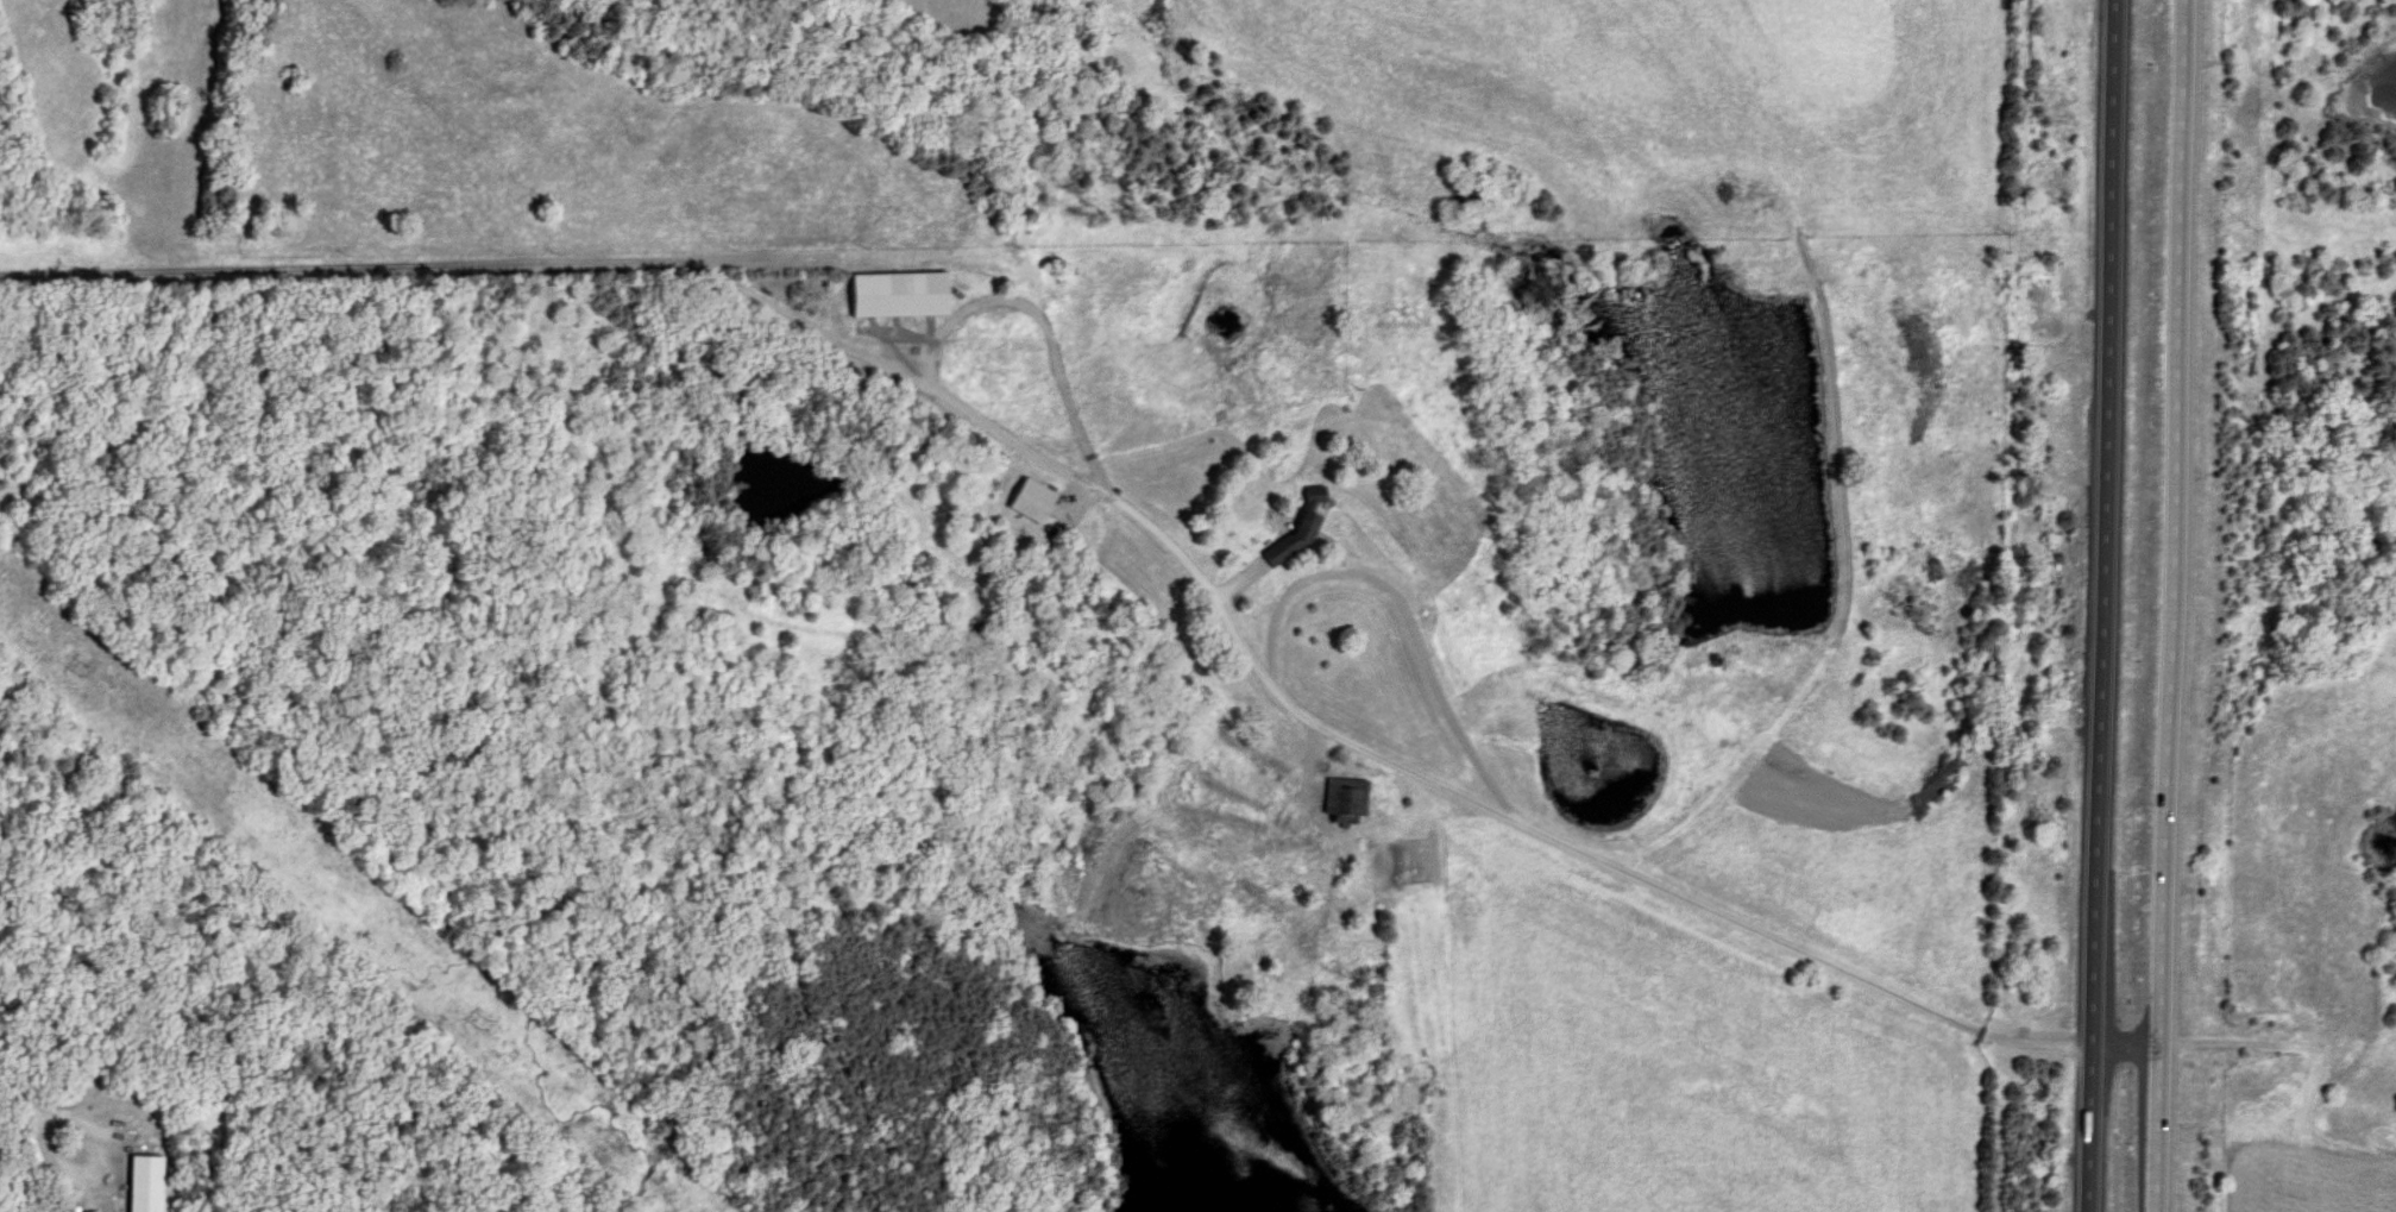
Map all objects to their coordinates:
building: (891, 296)
road: (968, 413)
building: (1025, 500)
road: (2107, 605)
road: (2177, 605)
power tower: (81, 672)
road: (1458, 792)
building: (1346, 804)
power tower: (479, 1022)
road: (13, 1097)
road: (99, 1170)
building: (140, 1183)

